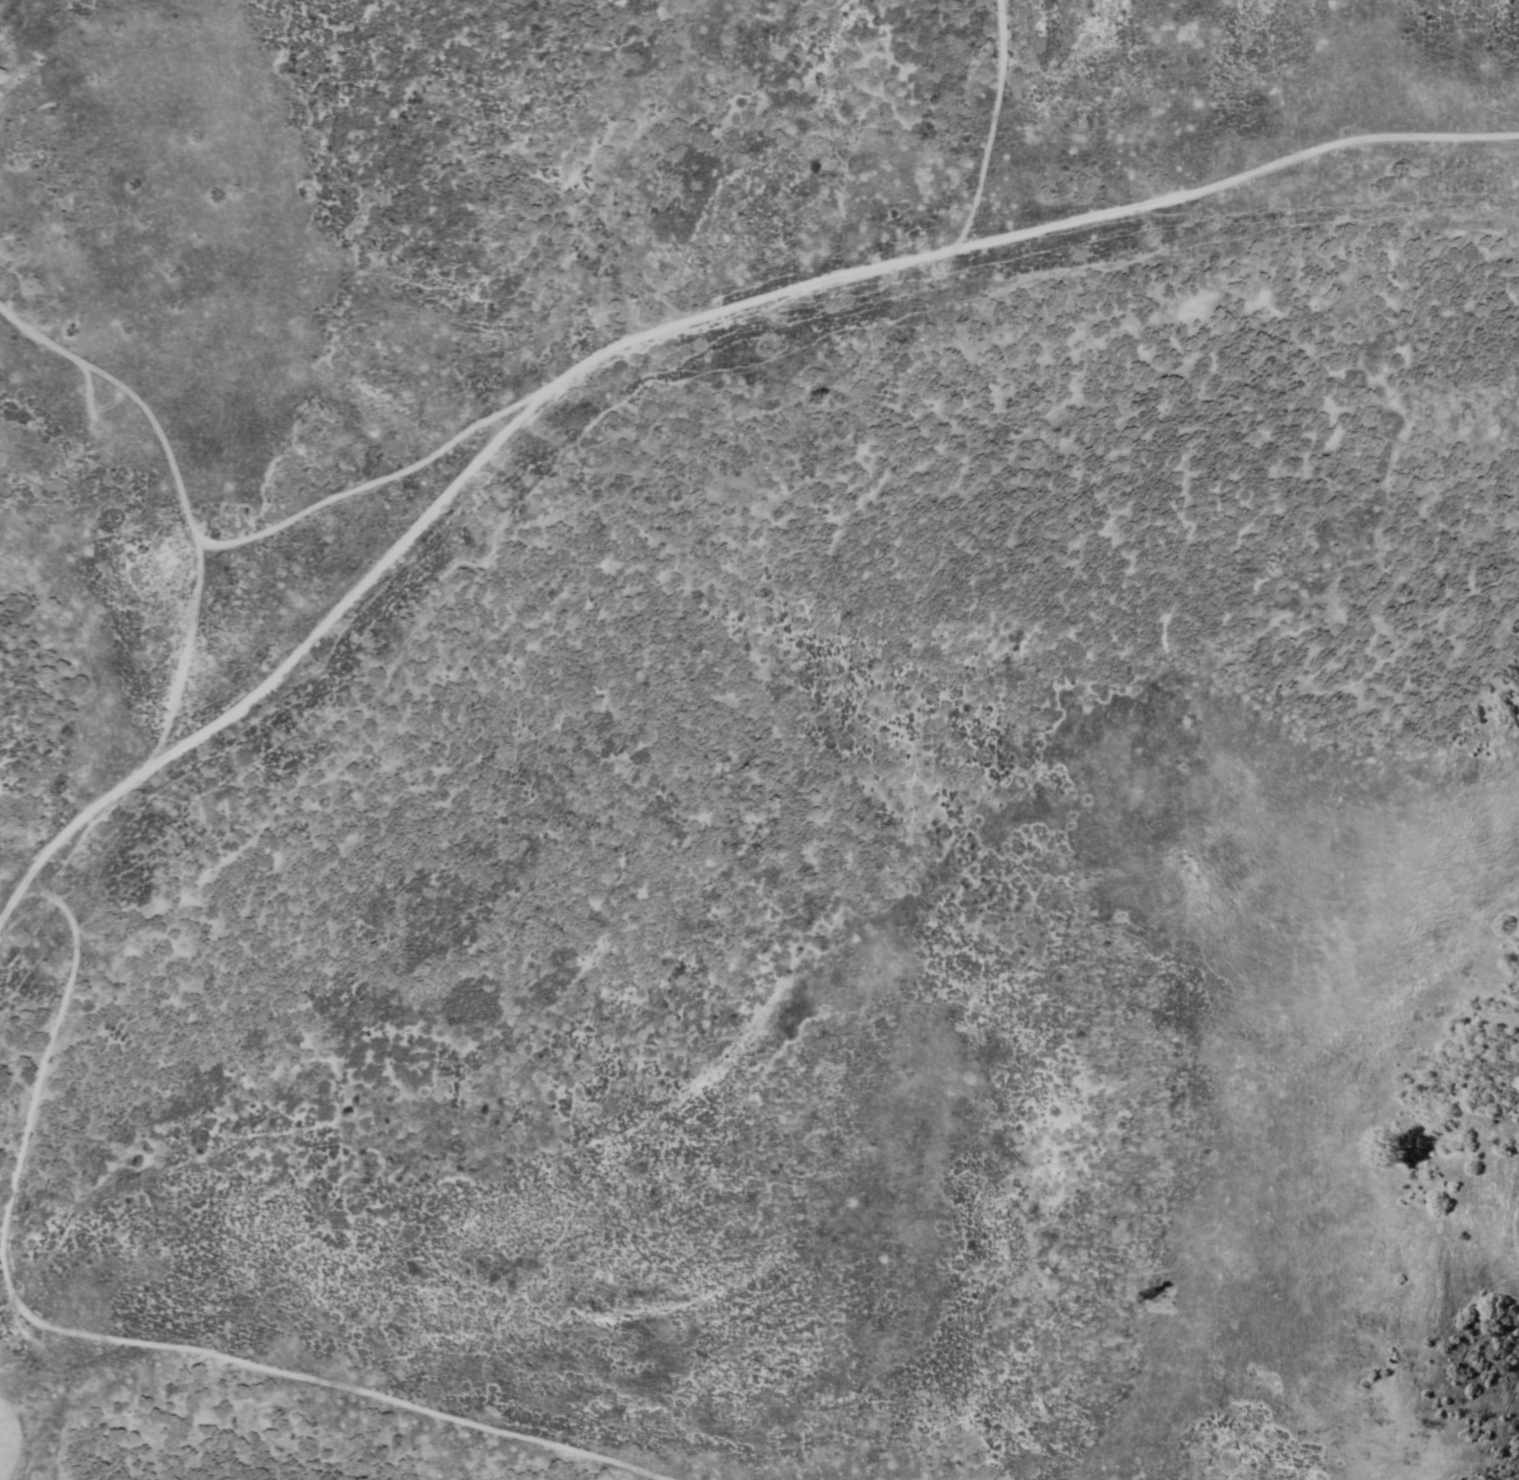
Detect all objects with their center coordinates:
road: (7, 3)
road: (913, 111)
road: (812, 250)
road: (164, 584)
road: (243, 634)
road: (41, 1061)
road: (253, 1398)

